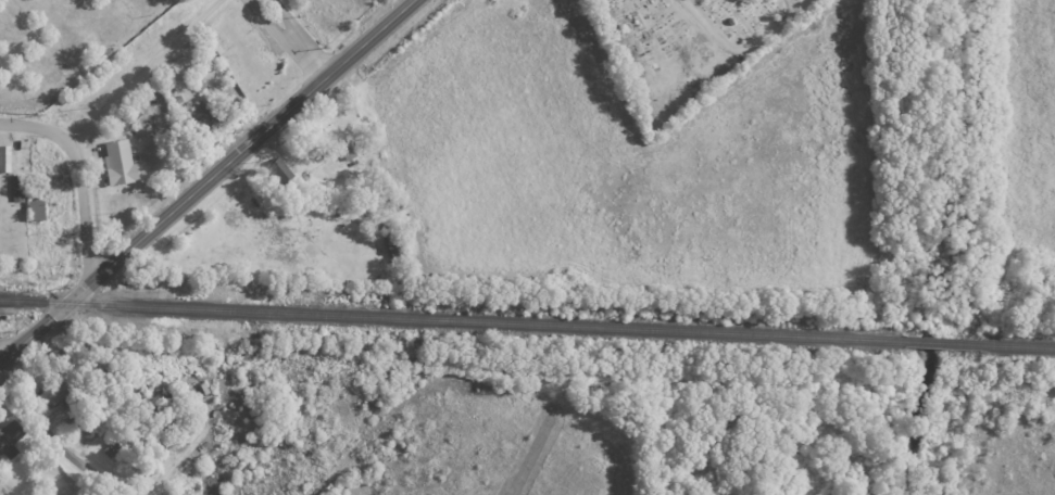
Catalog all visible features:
road: (296, 37)
park: (686, 48)
road: (149, 72)
building: (198, 84)
building: (202, 114)
building: (131, 115)
building: (7, 158)
building: (122, 163)
building: (282, 169)
road: (80, 170)
road: (209, 181)
building: (20, 187)
building: (38, 210)
building: (397, 242)
railway: (455, 319)
railway: (945, 343)
railway: (1018, 346)
road: (3, 355)
building: (53, 392)
building: (64, 404)
building: (11, 437)
road: (54, 443)
building: (115, 445)

